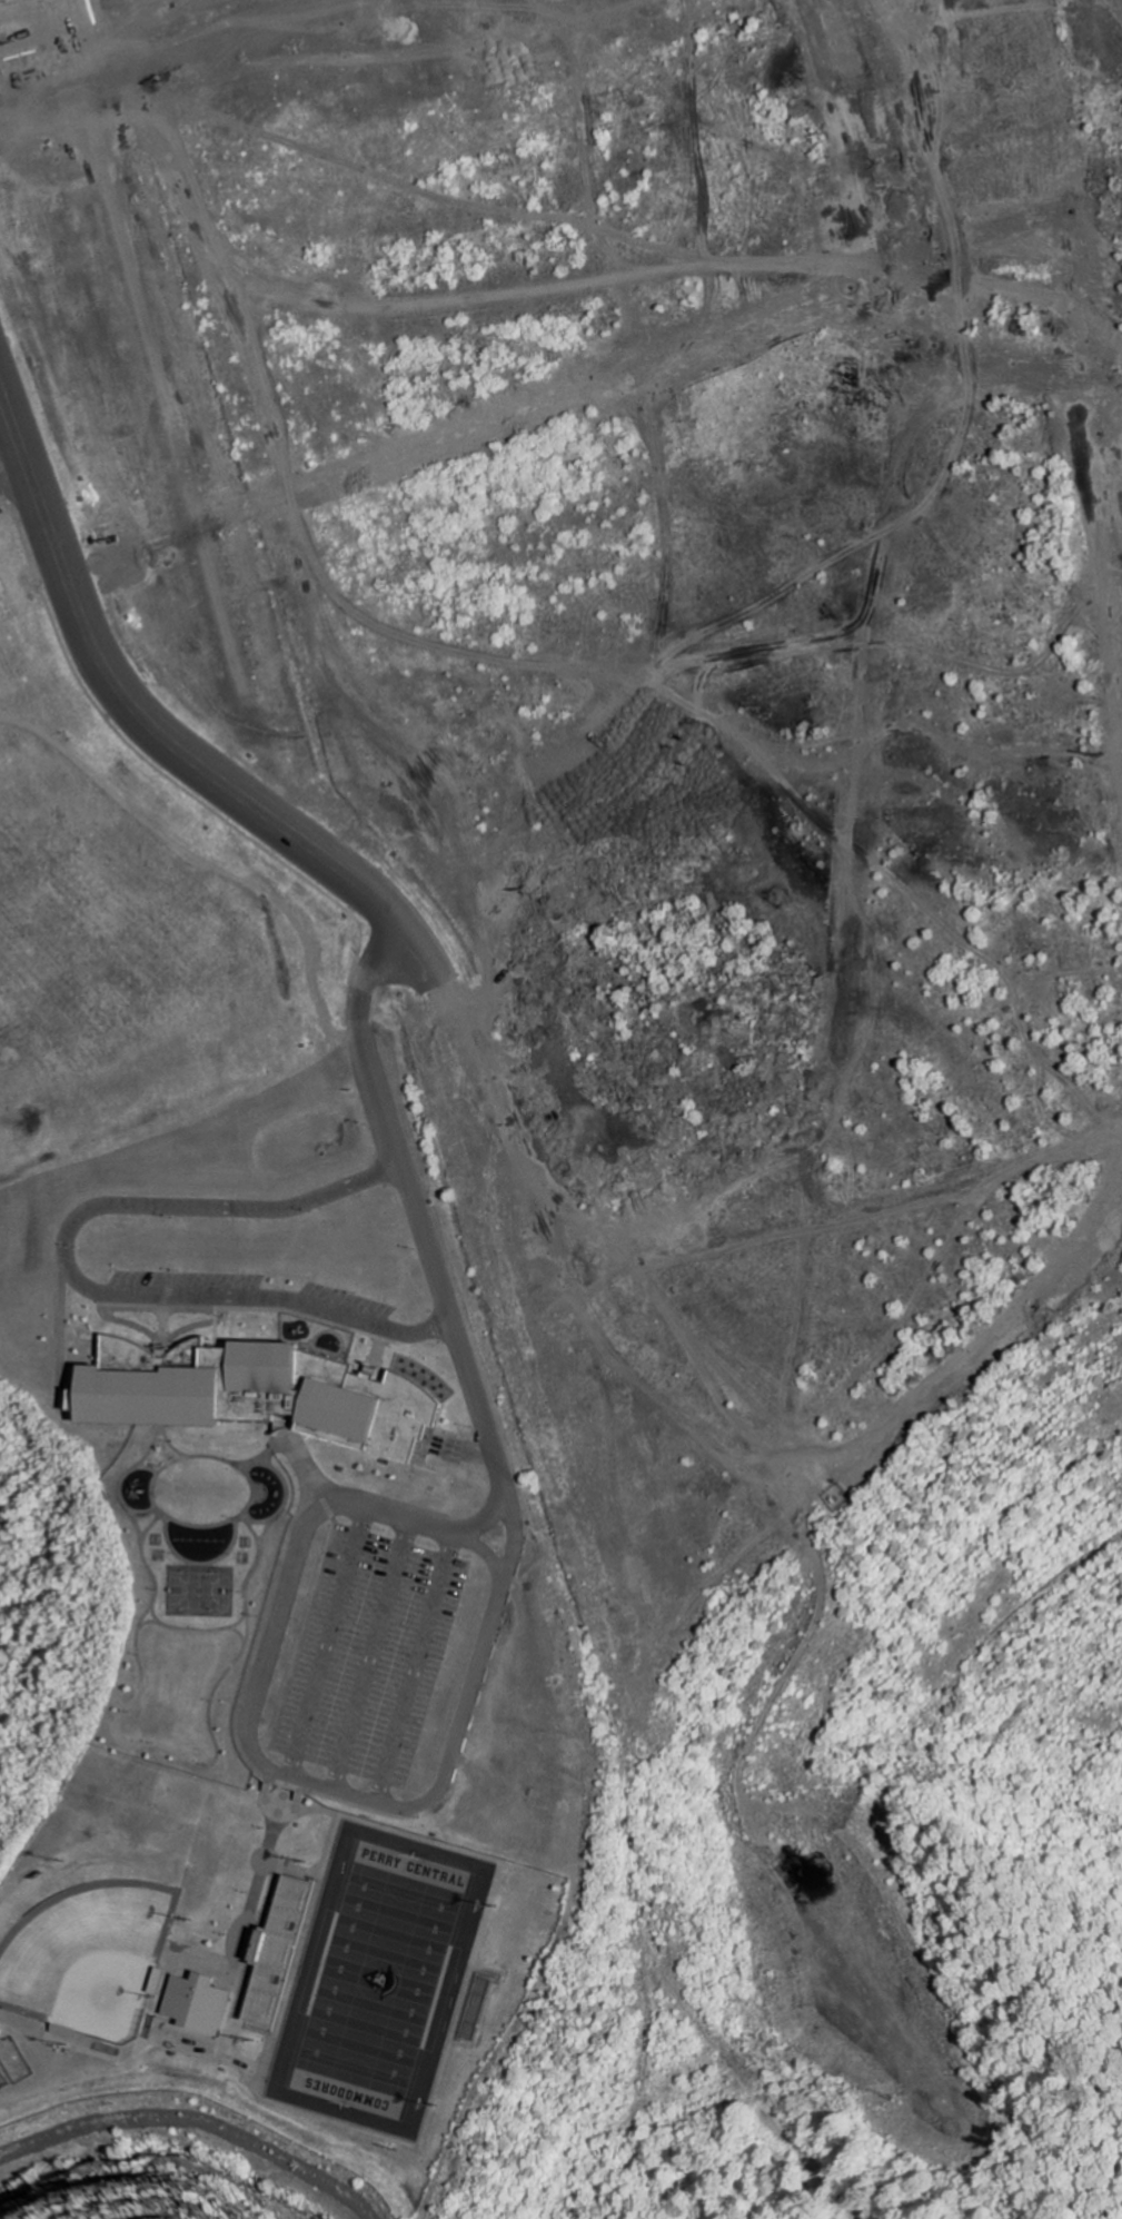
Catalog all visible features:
building: (3, 31)
road: (172, 747)
road: (413, 1207)
building: (200, 1383)
building: (379, 1408)
building: (284, 1954)
building: (203, 2003)

